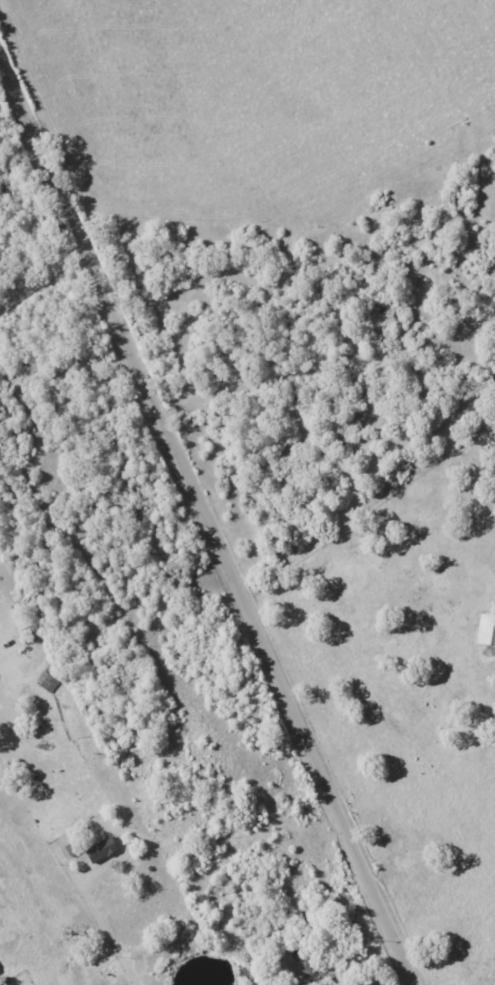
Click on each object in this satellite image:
road: (207, 517)
building: (486, 631)
building: (101, 850)
road: (114, 942)

